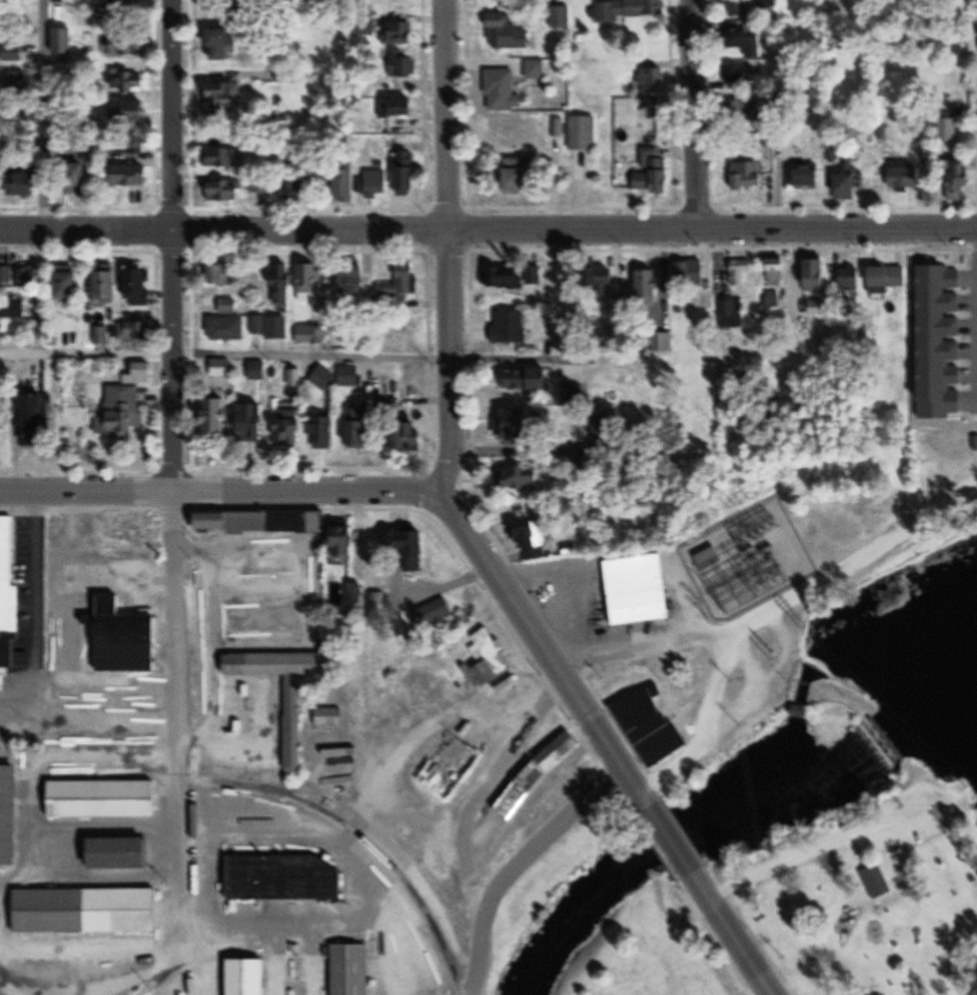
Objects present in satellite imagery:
building: (75, 4)
building: (396, 7)
building: (737, 8)
building: (124, 9)
building: (627, 9)
building: (508, 34)
building: (398, 35)
building: (1, 41)
building: (744, 42)
building: (63, 43)
building: (223, 46)
building: (127, 47)
building: (14, 54)
building: (402, 66)
building: (536, 70)
building: (738, 74)
building: (652, 78)
building: (17, 82)
building: (127, 83)
building: (501, 90)
building: (226, 99)
building: (399, 108)
building: (746, 112)
building: (131, 113)
road: (445, 115)
road: (696, 115)
road: (47, 116)
road: (174, 116)
building: (584, 133)
building: (132, 148)
building: (223, 159)
building: (409, 173)
building: (653, 173)
building: (749, 176)
building: (519, 177)
building: (808, 177)
building: (134, 178)
building: (911, 179)
building: (80, 180)
building: (958, 181)
building: (25, 184)
building: (377, 185)
building: (261, 186)
building: (344, 187)
building: (848, 187)
building: (296, 189)
building: (230, 191)
road: (488, 230)
building: (741, 271)
building: (779, 271)
building: (691, 272)
building: (5, 273)
building: (223, 274)
building: (33, 275)
building: (816, 275)
building: (511, 276)
building: (605, 277)
building: (310, 278)
building: (356, 279)
building: (889, 279)
building: (68, 282)
building: (281, 282)
building: (403, 282)
building: (109, 283)
building: (140, 286)
building: (649, 286)
building: (774, 300)
building: (226, 303)
building: (732, 313)
building: (272, 326)
building: (511, 327)
building: (229, 328)
building: (135, 331)
building: (663, 342)
road: (224, 355)
road: (449, 361)
road: (176, 363)
building: (223, 368)
building: (259, 370)
building: (351, 377)
building: (322, 378)
building: (529, 379)
building: (126, 410)
building: (222, 416)
building: (40, 421)
building: (255, 421)
building: (517, 423)
building: (292, 427)
building: (359, 429)
building: (325, 432)
building: (411, 437)
building: (525, 477)
road: (225, 493)
building: (263, 522)
building: (134, 533)
building: (530, 534)
building: (348, 540)
building: (410, 551)
building: (711, 560)
power substation: (749, 560)
building: (7, 574)
road: (35, 574)
building: (640, 589)
building: (203, 590)
building: (321, 600)
building: (375, 605)
road: (779, 605)
building: (434, 612)
building: (265, 621)
park: (808, 638)
building: (127, 639)
road: (550, 649)
building: (488, 661)
building: (203, 668)
road: (753, 688)
dam: (835, 695)
building: (241, 700)
road: (179, 718)
building: (330, 718)
road: (711, 722)
building: (653, 726)
dam: (891, 737)
river: (934, 743)
building: (538, 775)
building: (103, 802)
building: (10, 815)
river: (684, 833)
railway: (367, 839)
road: (672, 839)
building: (123, 853)
park: (550, 856)
road: (517, 863)
road: (521, 875)
building: (279, 884)
building: (871, 884)
park: (861, 893)
building: (87, 910)
road: (733, 934)
building: (353, 970)
building: (249, 977)

